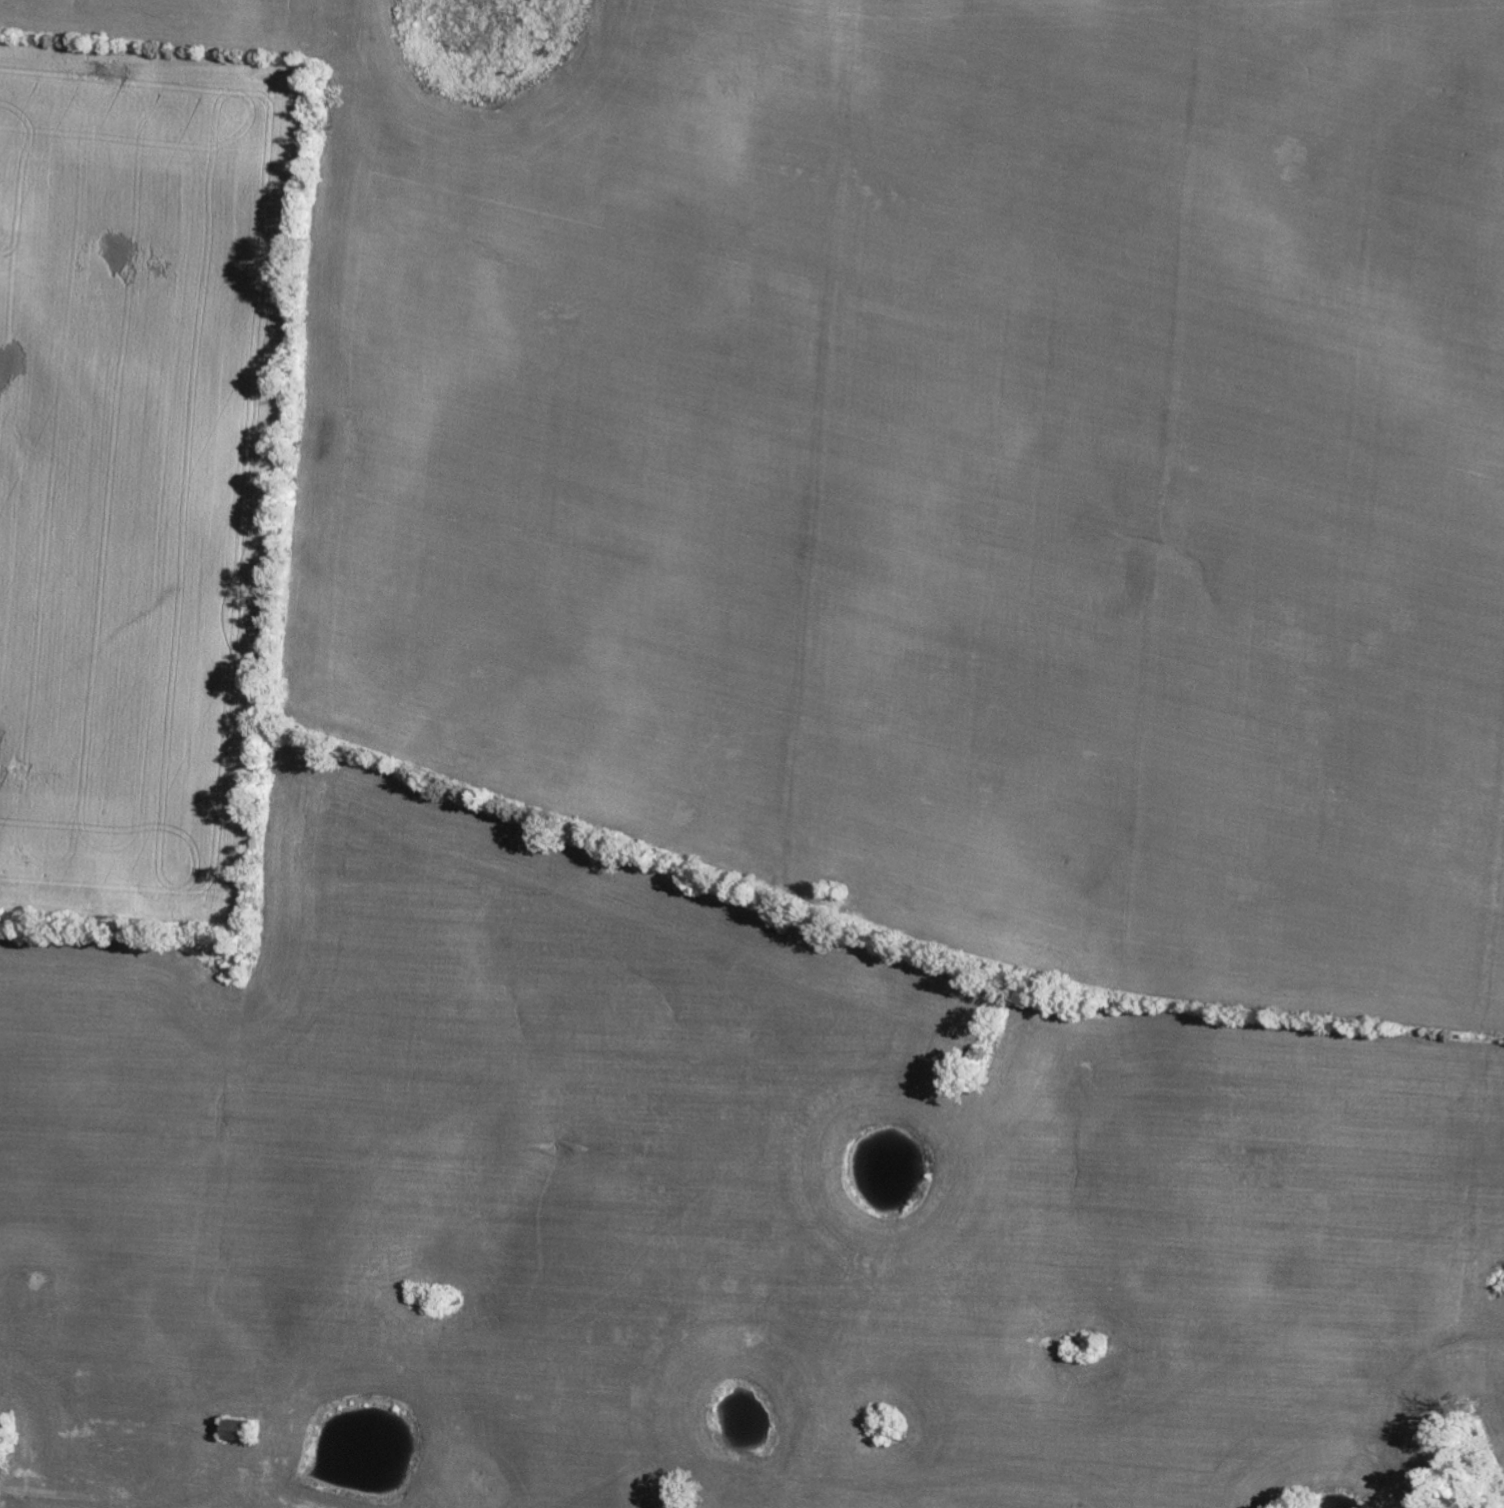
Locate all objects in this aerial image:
road: (757, 1481)
road: (160, 1493)

